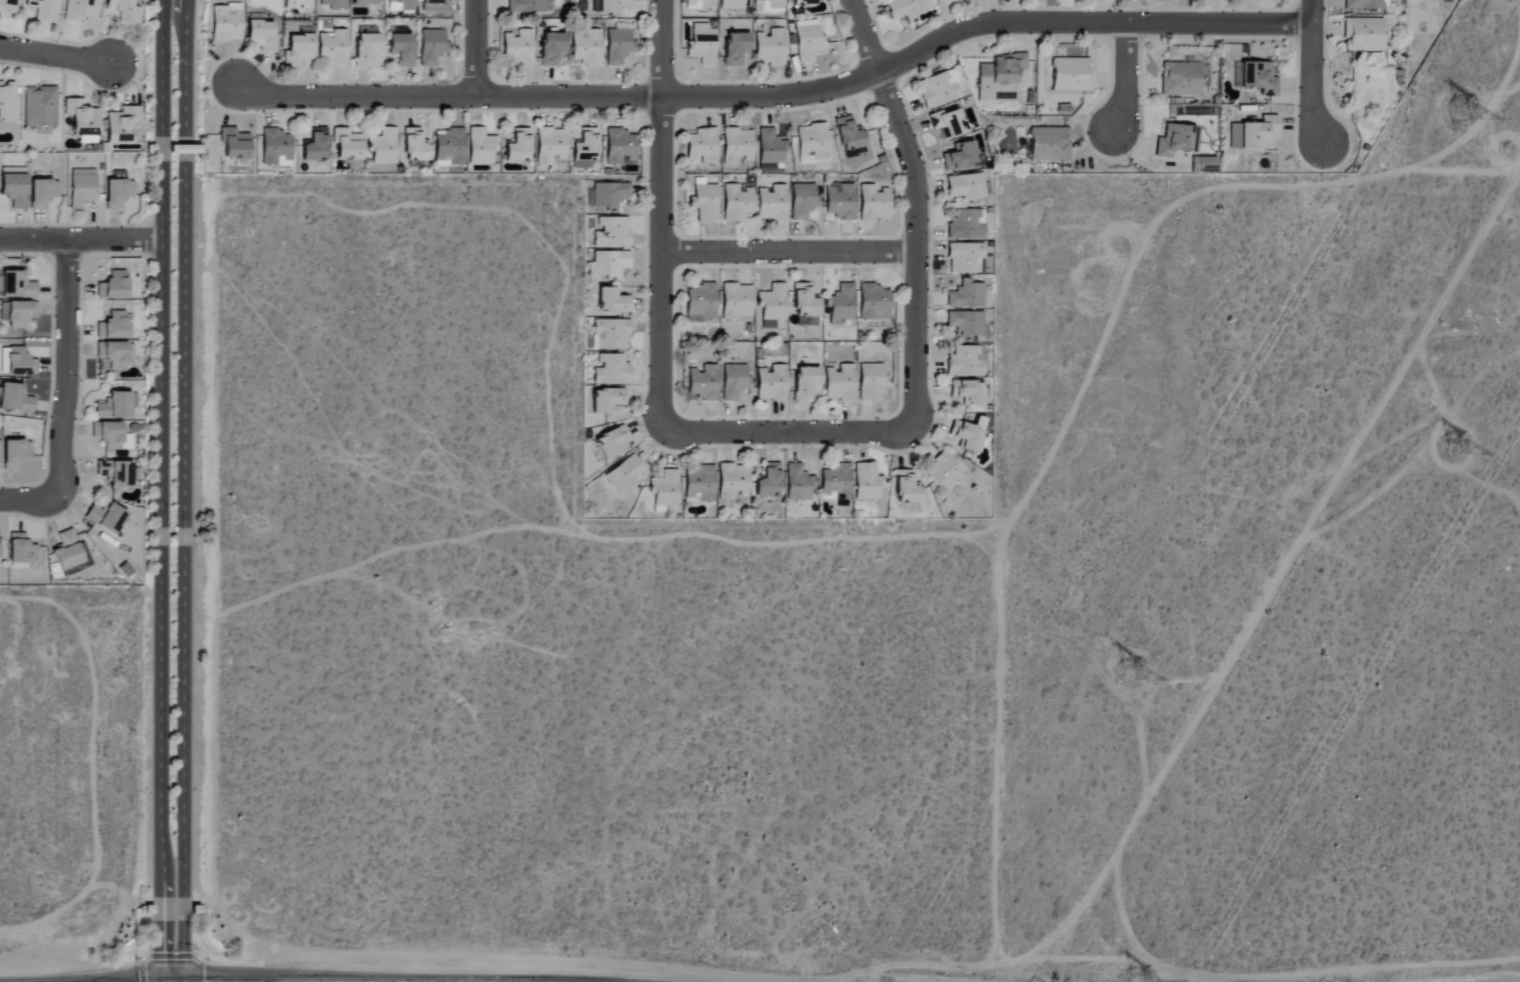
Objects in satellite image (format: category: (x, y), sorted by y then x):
building: (364, 2)
building: (802, 2)
building: (296, 4)
building: (334, 4)
building: (431, 4)
building: (703, 4)
building: (769, 4)
building: (401, 5)
building: (733, 5)
building: (1367, 5)
building: (9, 6)
building: (528, 6)
building: (608, 6)
building: (905, 9)
building: (43, 10)
building: (123, 10)
building: (80, 11)
building: (225, 24)
building: (367, 31)
building: (1364, 35)
building: (261, 37)
building: (807, 42)
building: (702, 45)
building: (431, 47)
building: (617, 47)
building: (332, 48)
road: (475, 48)
building: (518, 48)
building: (586, 48)
building: (770, 48)
building: (365, 49)
building: (551, 49)
building: (736, 49)
building: (298, 50)
building: (401, 50)
road: (57, 54)
road: (1311, 72)
building: (1072, 75)
road: (1123, 77)
building: (1000, 79)
building: (1181, 79)
building: (1259, 79)
building: (940, 90)
road: (779, 95)
building: (7, 102)
building: (39, 107)
power tower: (1457, 116)
building: (948, 124)
building: (121, 125)
building: (849, 135)
building: (1254, 135)
building: (1176, 141)
building: (812, 142)
building: (234, 144)
building: (1050, 144)
building: (347, 145)
building: (315, 146)
building: (551, 146)
building: (586, 146)
building: (383, 147)
building: (415, 147)
building: (481, 147)
building: (518, 147)
building: (702, 147)
building: (738, 147)
building: (276, 148)
building: (449, 148)
building: (621, 148)
building: (770, 148)
building: (960, 157)
building: (582, 166)
building: (1204, 166)
building: (966, 187)
building: (81, 188)
building: (14, 190)
building: (42, 194)
building: (610, 195)
building: (802, 201)
building: (840, 201)
building: (736, 203)
building: (772, 204)
building: (874, 204)
road: (659, 218)
building: (966, 225)
building: (612, 233)
road: (80, 240)
road: (786, 251)
building: (965, 258)
building: (611, 264)
building: (17, 285)
building: (113, 285)
building: (966, 294)
building: (612, 300)
building: (805, 300)
building: (736, 302)
building: (874, 302)
building: (701, 303)
building: (841, 304)
building: (772, 305)
building: (17, 313)
building: (966, 323)
road: (914, 324)
building: (112, 326)
building: (610, 334)
building: (115, 353)
building: (965, 361)
building: (20, 362)
road: (66, 364)
building: (612, 369)
building: (734, 381)
building: (805, 381)
building: (703, 382)
building: (871, 382)
building: (772, 383)
building: (840, 383)
building: (968, 392)
building: (15, 398)
building: (607, 400)
building: (114, 406)
building: (968, 433)
building: (111, 435)
power tower: (1462, 441)
building: (611, 442)
building: (15, 453)
building: (0, 468)
building: (946, 471)
building: (117, 472)
building: (624, 474)
building: (769, 480)
building: (733, 481)
building: (866, 482)
building: (798, 483)
building: (836, 483)
building: (700, 484)
building: (907, 487)
building: (665, 490)
road: (160, 491)
road: (182, 492)
road: (31, 499)
building: (106, 517)
building: (21, 549)
building: (69, 551)
road: (1280, 574)
power tower: (1138, 664)

